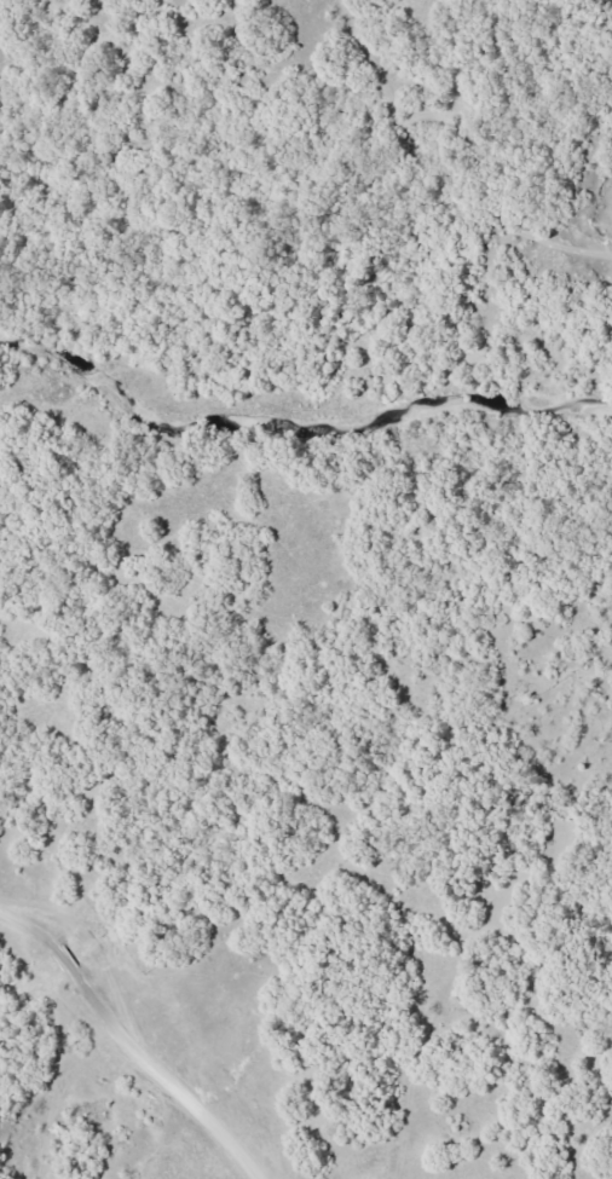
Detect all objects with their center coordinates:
road: (133, 1044)

